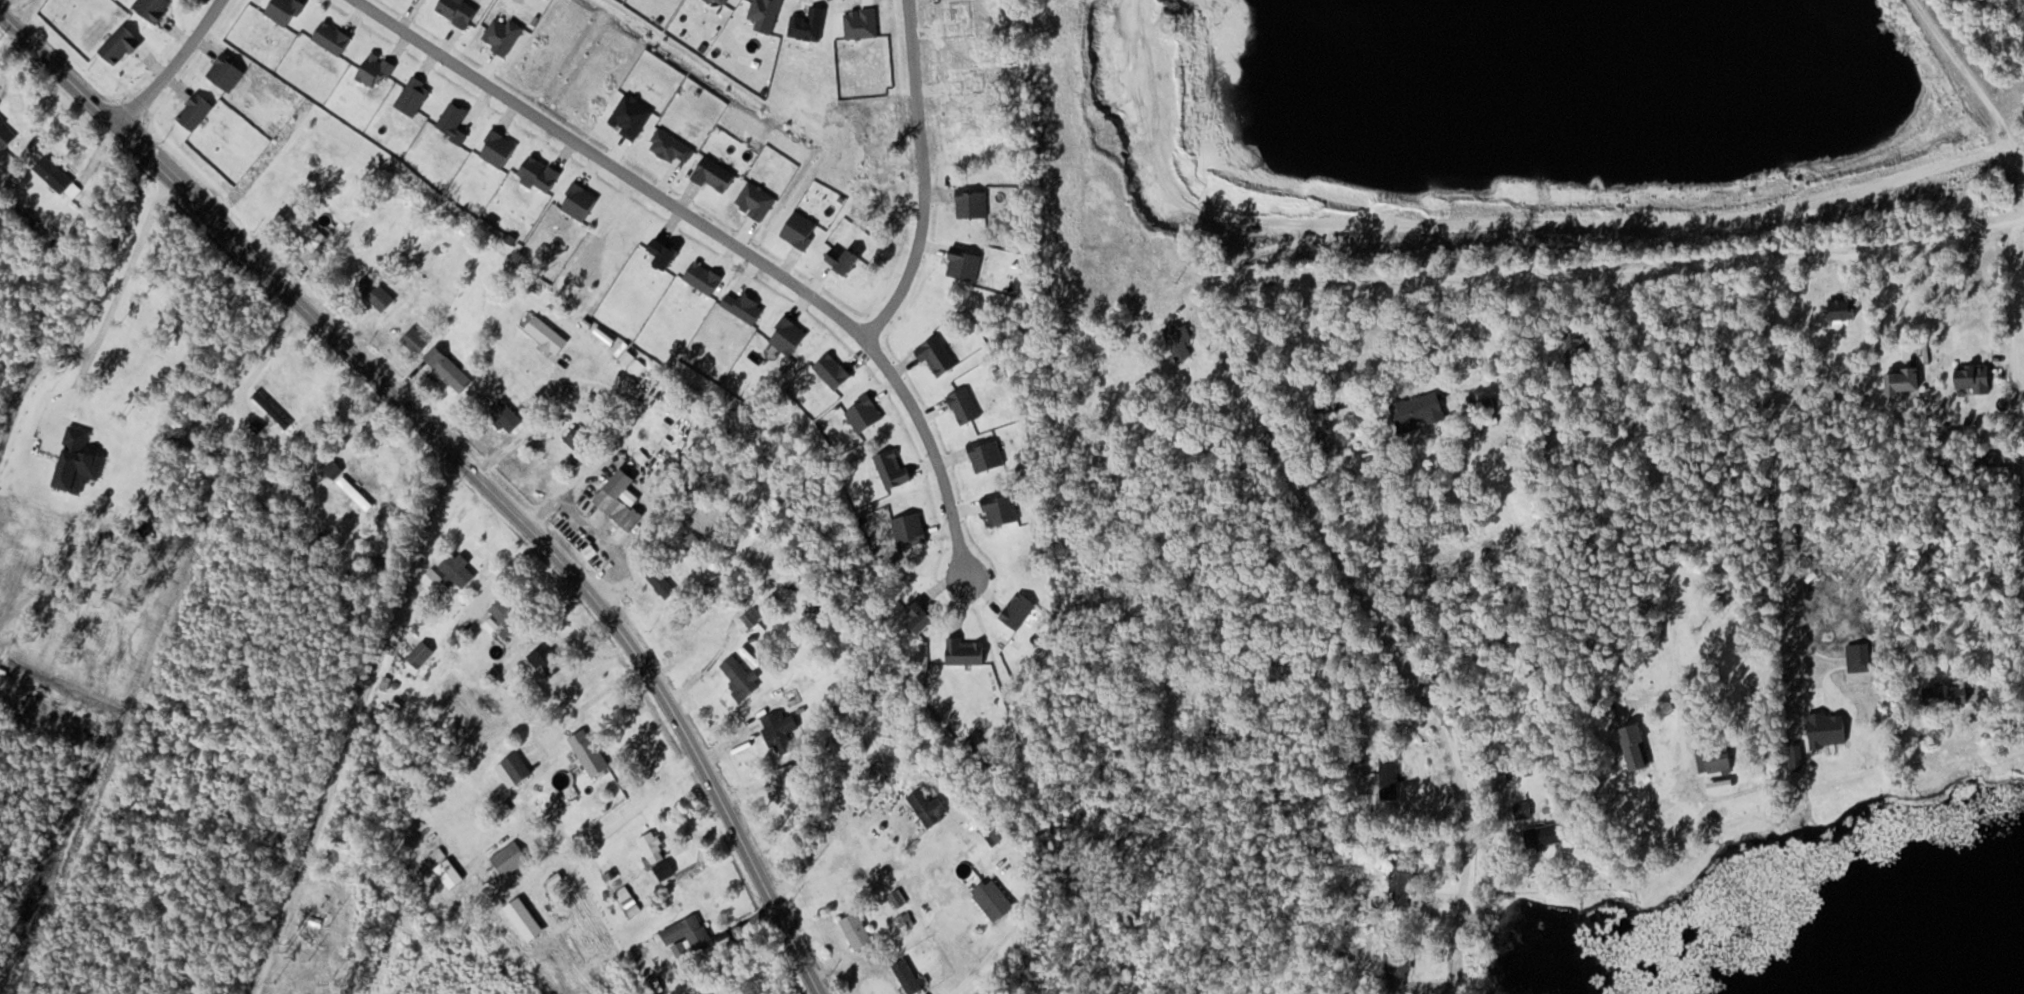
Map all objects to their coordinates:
road: (174, 63)
road: (1975, 78)
building: (58, 177)
building: (1221, 182)
building: (309, 230)
road: (724, 236)
road: (916, 254)
road: (1606, 273)
building: (372, 288)
building: (1843, 307)
building: (415, 338)
building: (1577, 349)
building: (449, 368)
building: (1975, 377)
building: (1906, 381)
road: (2016, 381)
building: (273, 409)
building: (1422, 410)
building: (506, 416)
building: (579, 440)
road: (463, 460)
building: (334, 469)
building: (355, 493)
building: (619, 499)
road: (1661, 513)
building: (693, 544)
building: (744, 569)
building: (457, 572)
building: (658, 578)
building: (507, 615)
road: (1385, 619)
building: (421, 653)
building: (547, 660)
building: (741, 675)
building: (1949, 695)
road: (353, 724)
building: (782, 731)
building: (1637, 747)
building: (590, 752)
building: (1716, 758)
building: (517, 767)
building: (1390, 778)
building: (790, 782)
building: (995, 832)
building: (1545, 835)
building: (654, 847)
building: (511, 858)
building: (1401, 884)
building: (898, 899)
building: (995, 901)
building: (906, 921)
building: (857, 931)
building: (690, 933)
road: (1001, 939)
building: (1399, 963)

